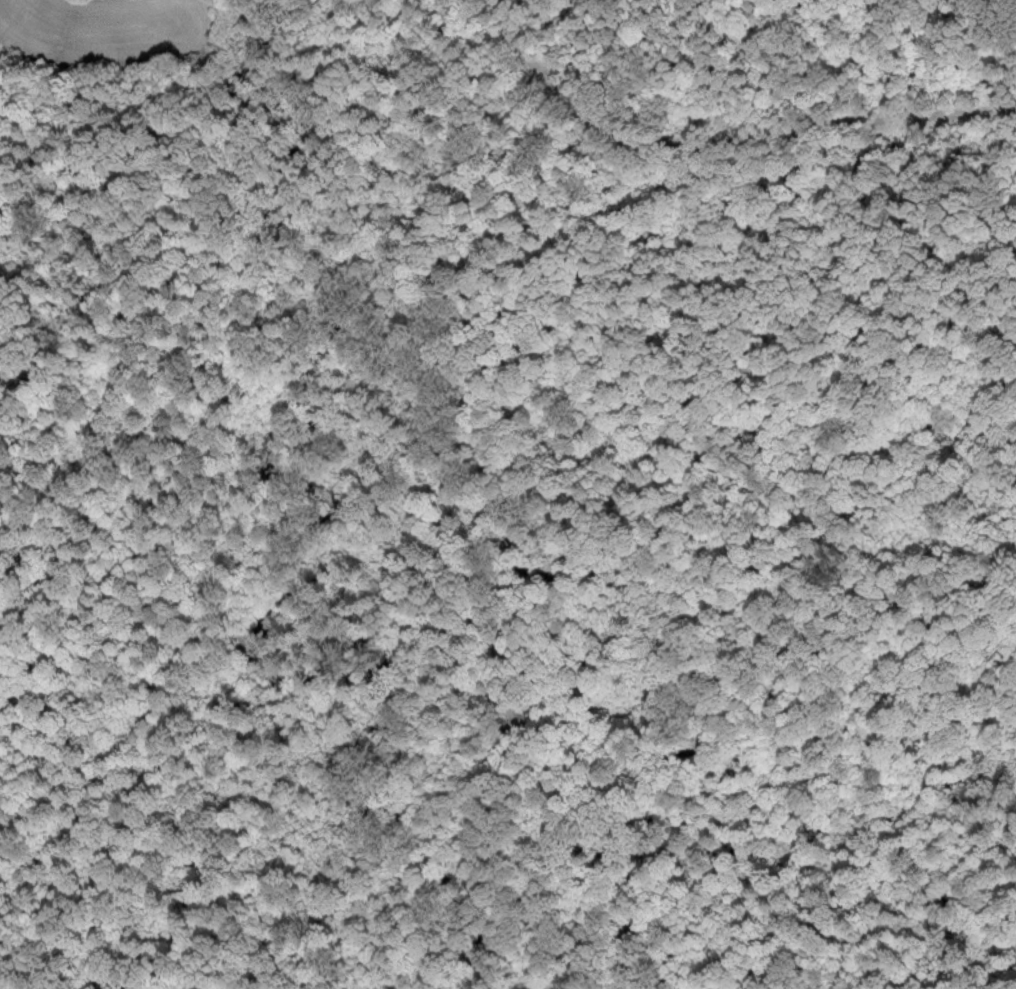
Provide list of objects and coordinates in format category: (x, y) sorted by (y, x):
road: (719, 169)

